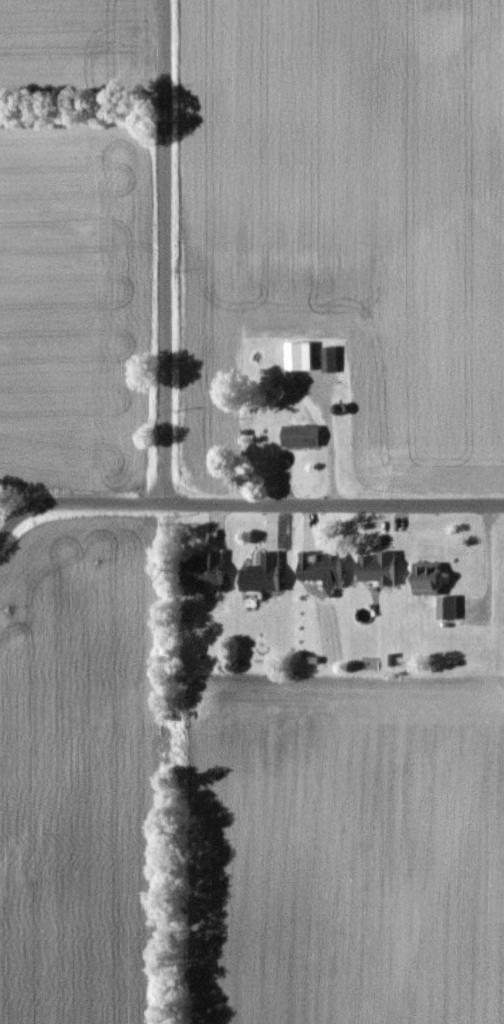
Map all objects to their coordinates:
road: (163, 252)
building: (299, 354)
building: (300, 434)
road: (335, 501)
road: (74, 503)
building: (321, 566)
building: (378, 566)
building: (205, 568)
building: (262, 573)
building: (427, 577)
building: (447, 606)

